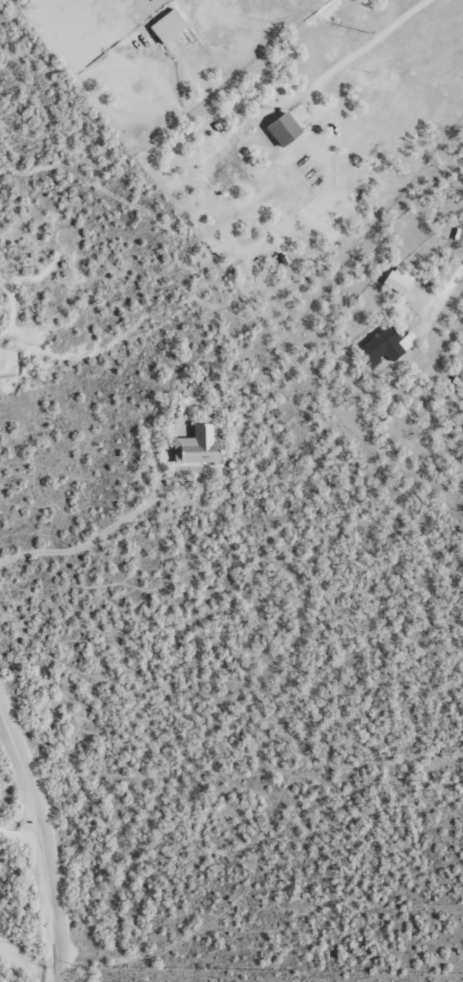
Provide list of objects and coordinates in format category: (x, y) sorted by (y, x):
building: (168, 26)
building: (284, 129)
building: (399, 280)
building: (387, 345)
building: (197, 446)
road: (24, 881)

